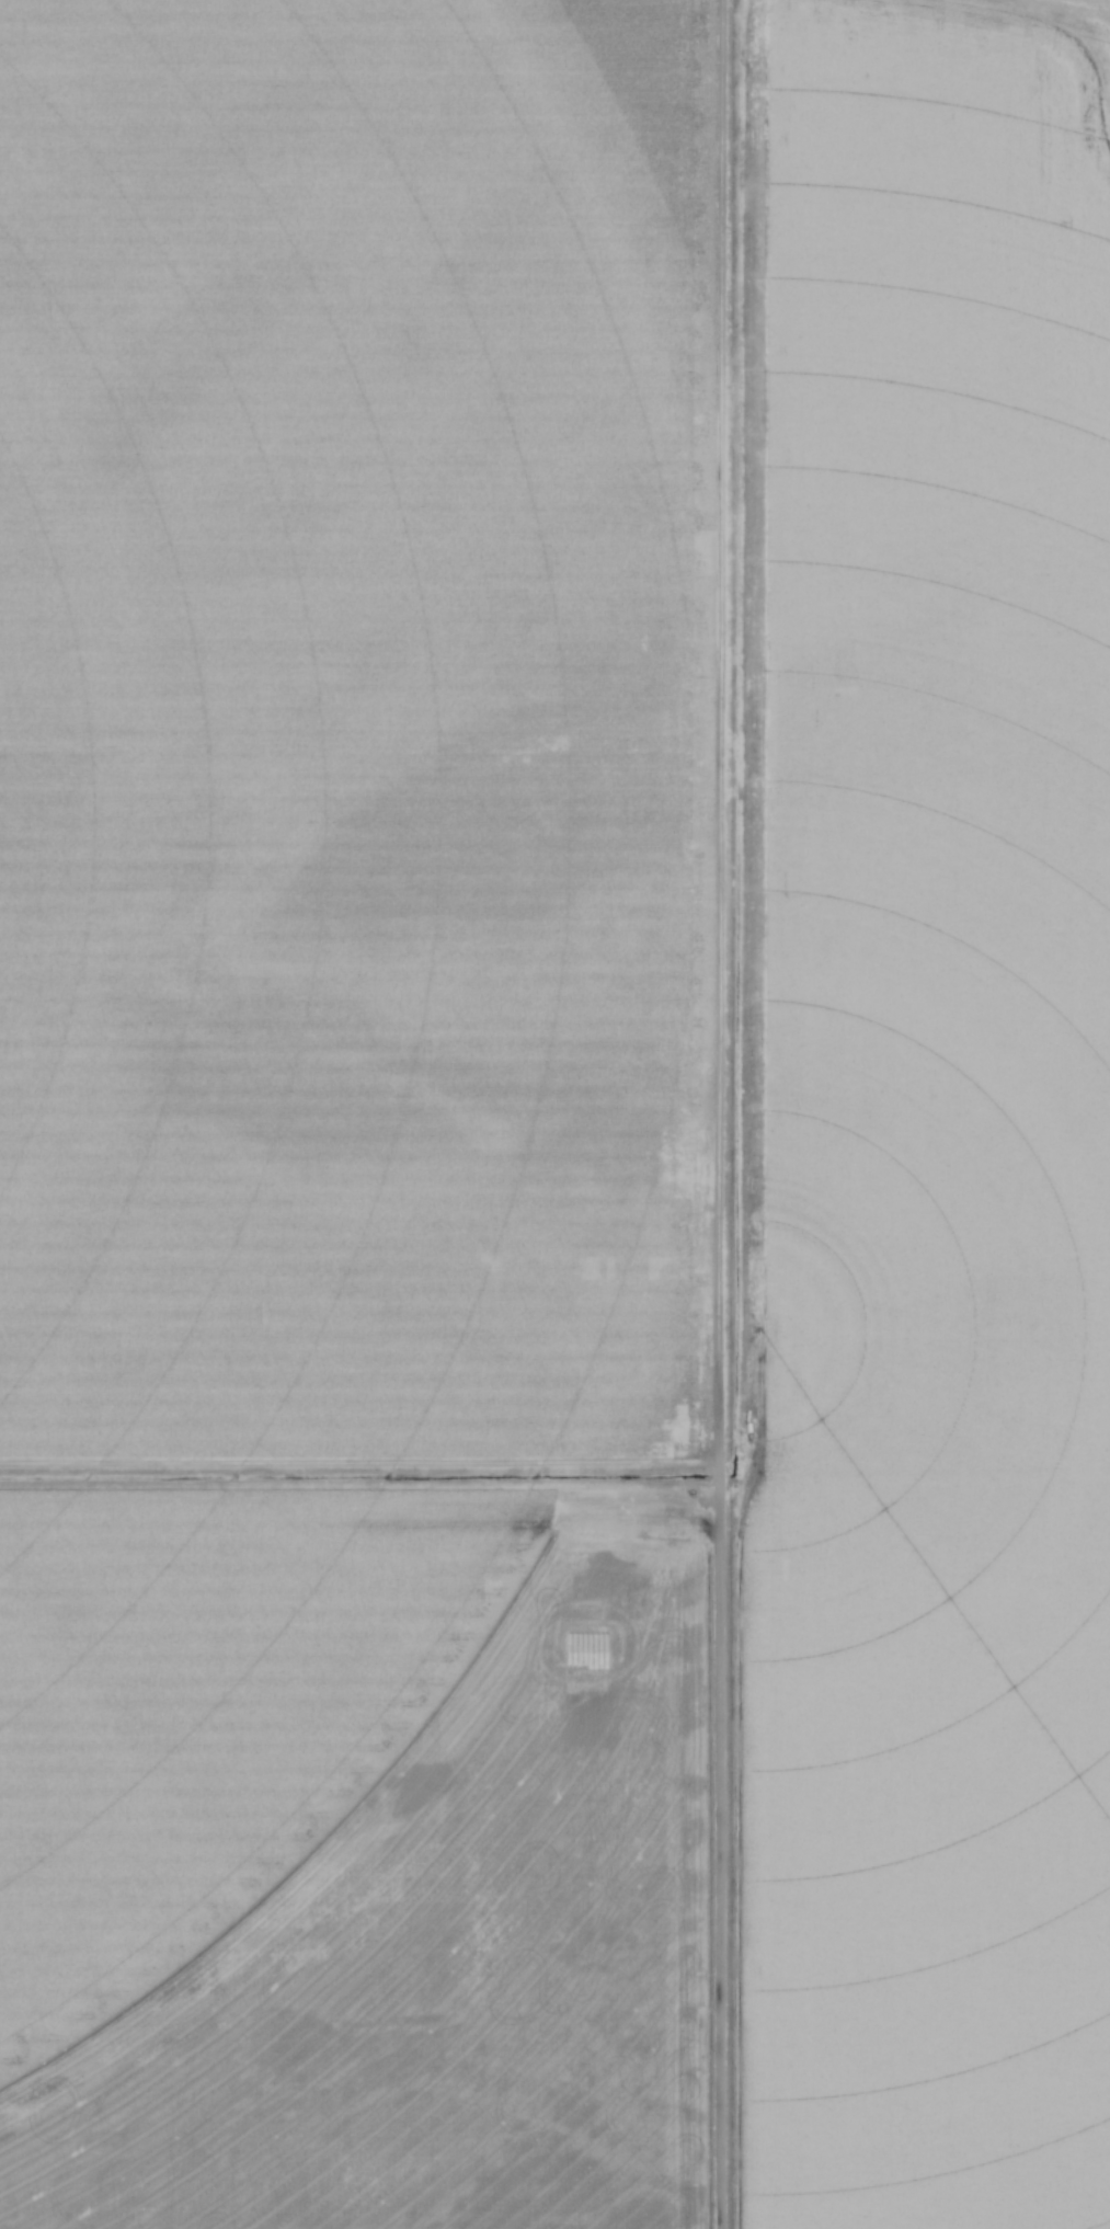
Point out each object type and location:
airport runway: (359, 1468)
airport taxiway: (717, 1849)

